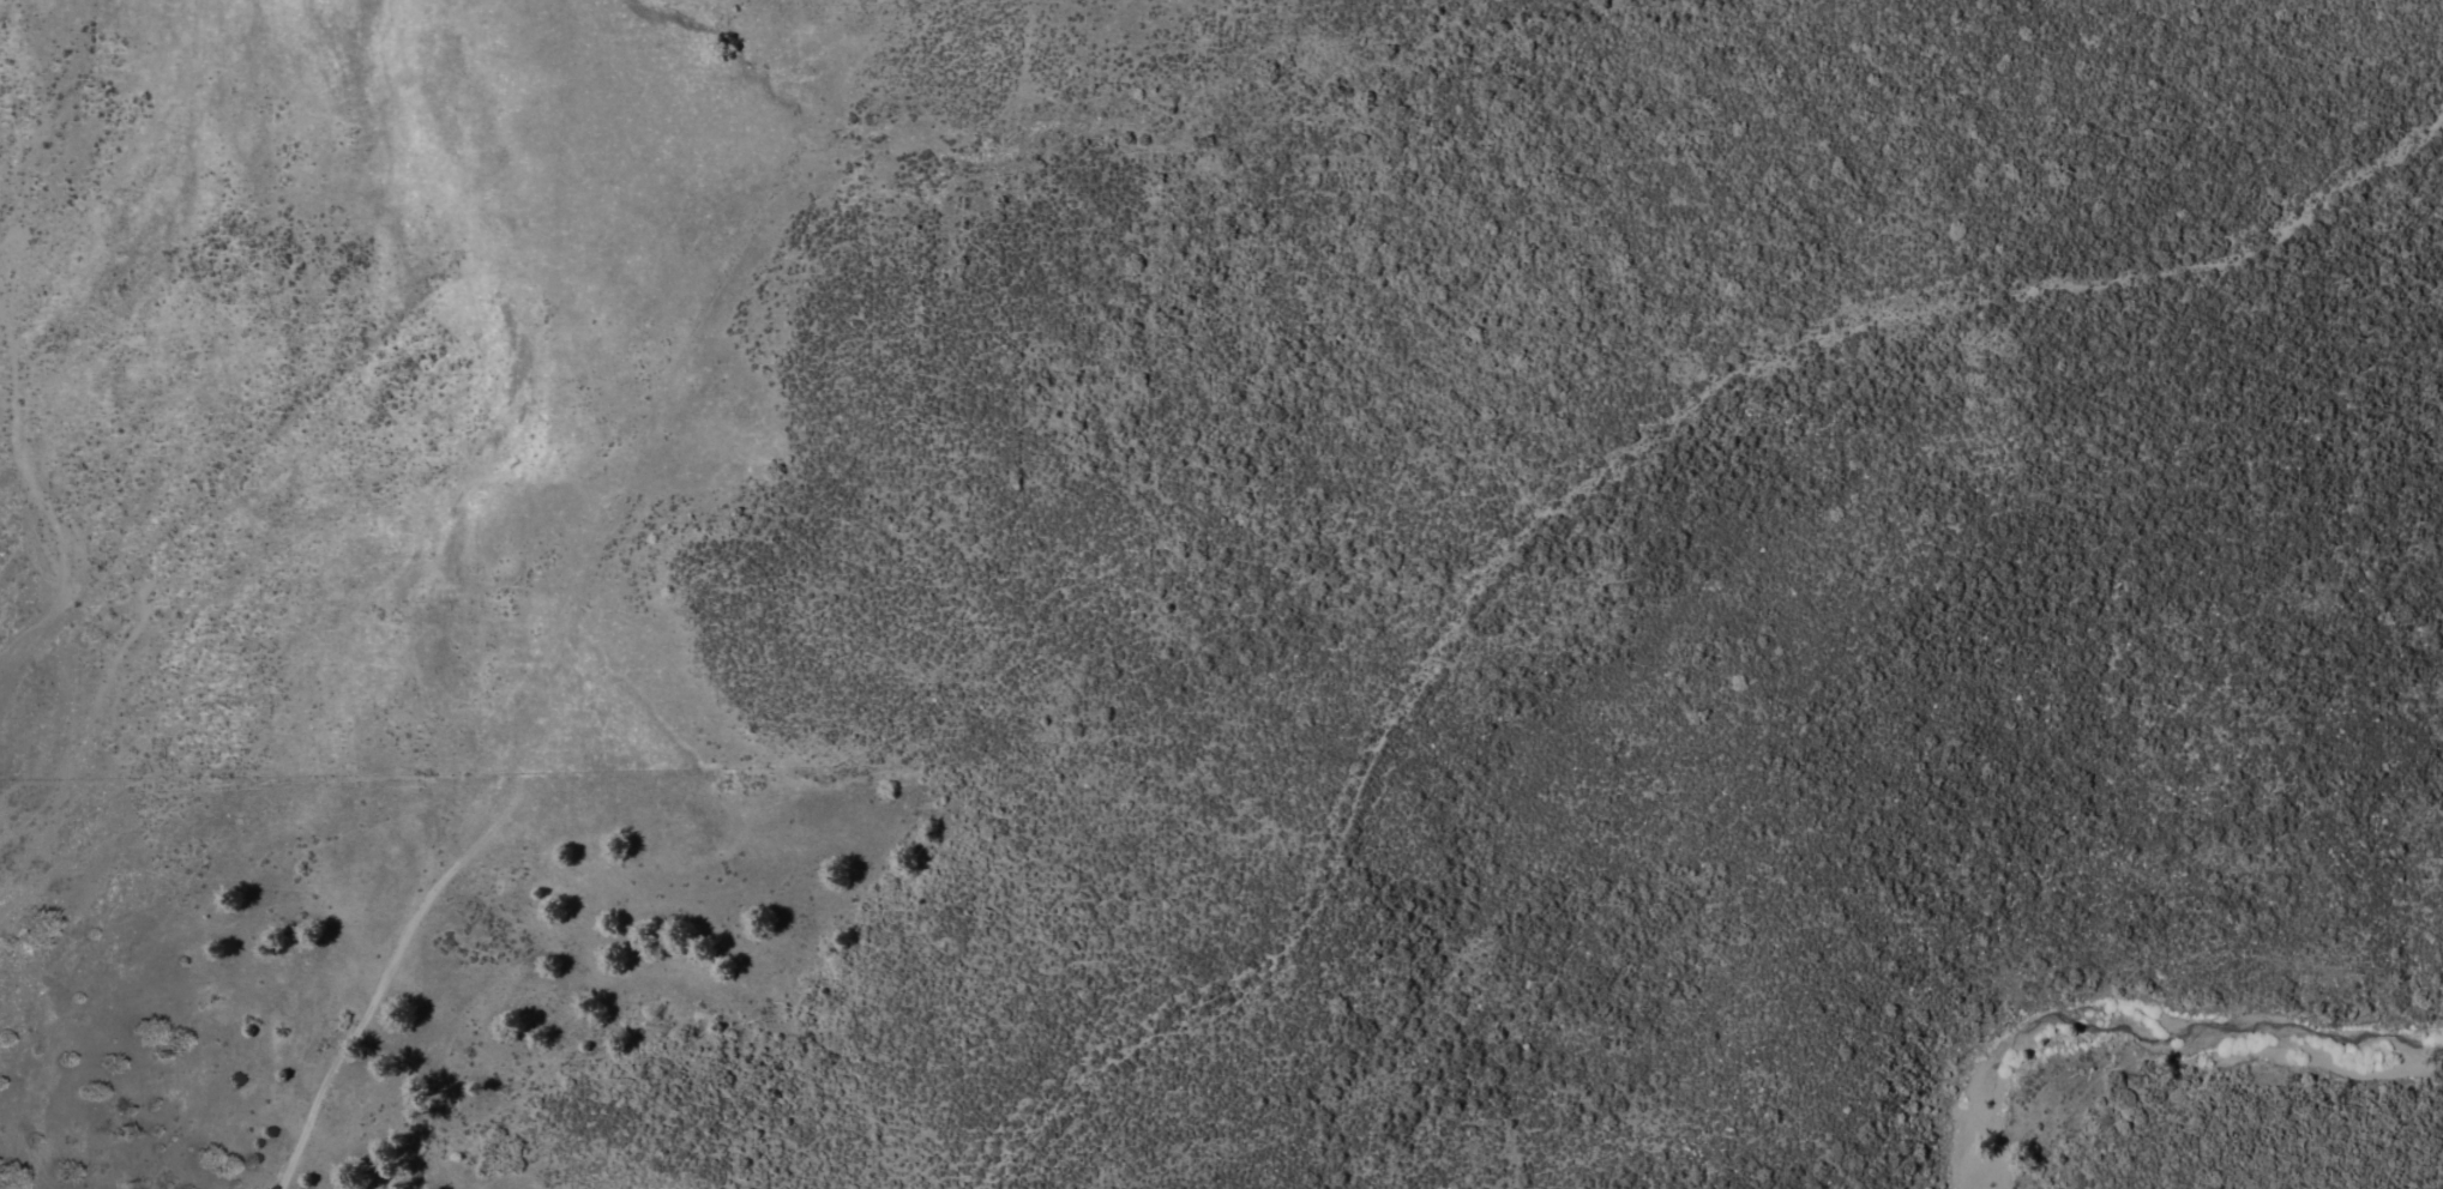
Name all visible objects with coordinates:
road: (386, 972)

